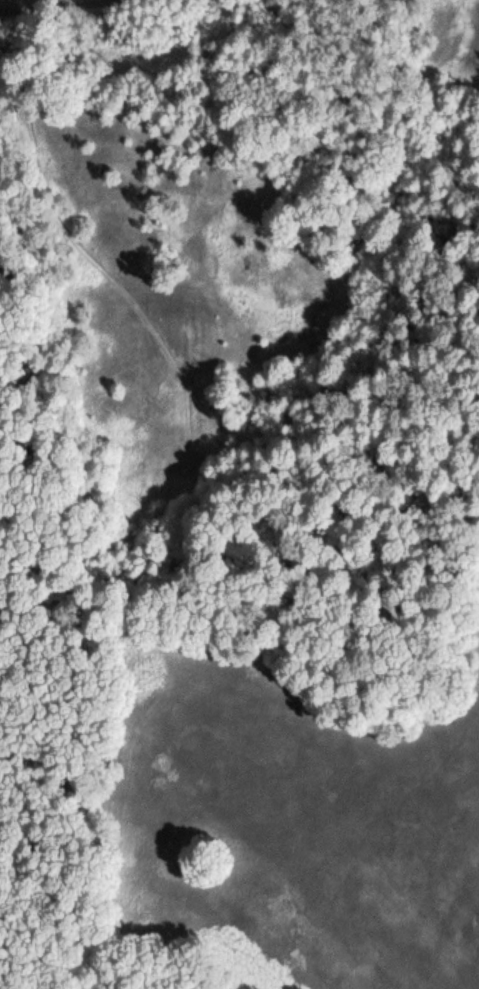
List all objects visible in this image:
road: (82, 251)

